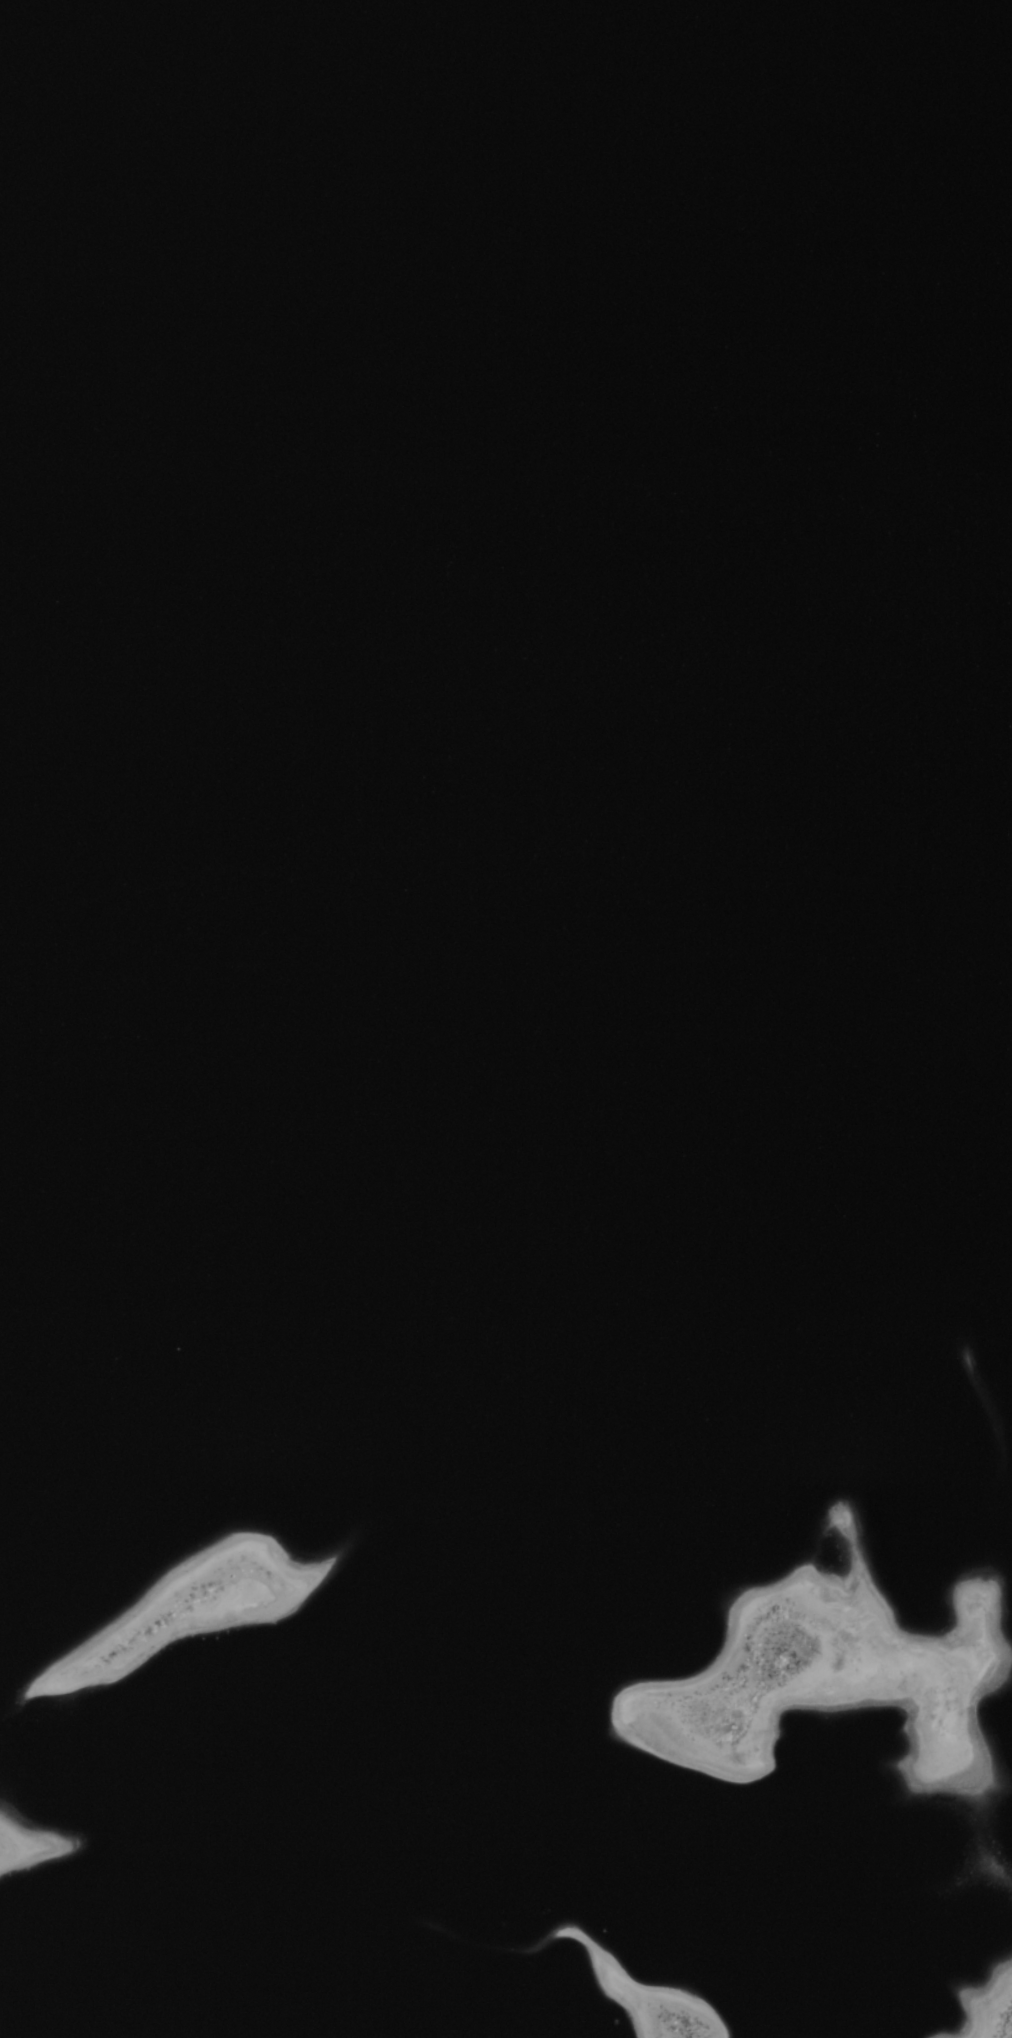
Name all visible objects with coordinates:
river: (506, 502)

